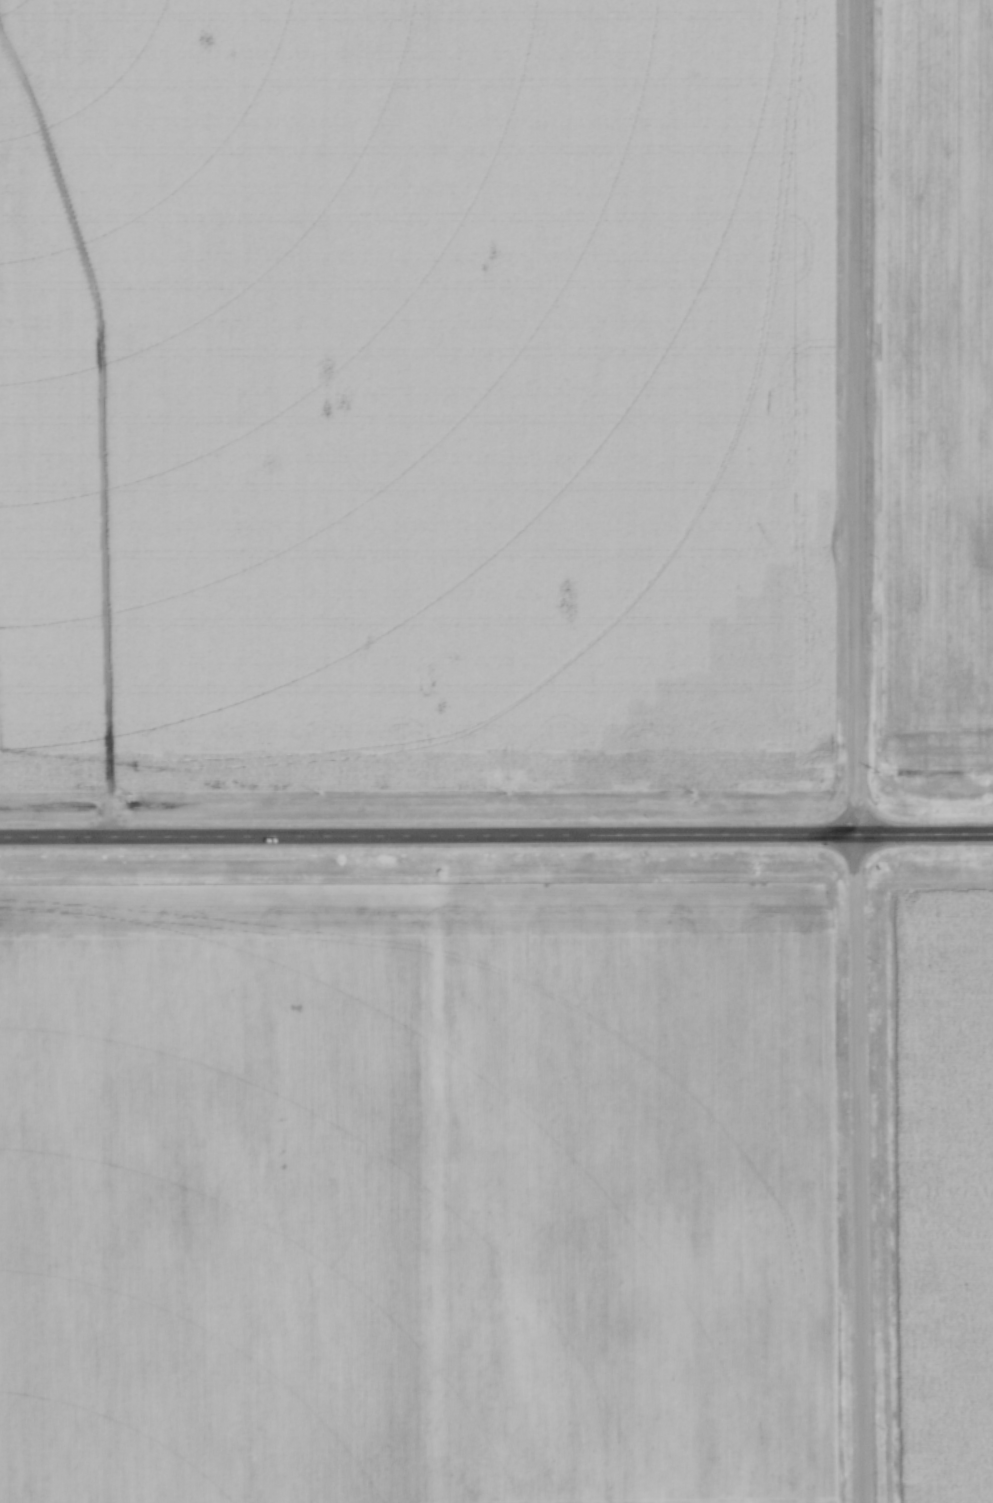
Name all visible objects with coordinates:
road: (854, 419)
road: (496, 837)
road: (859, 1170)

